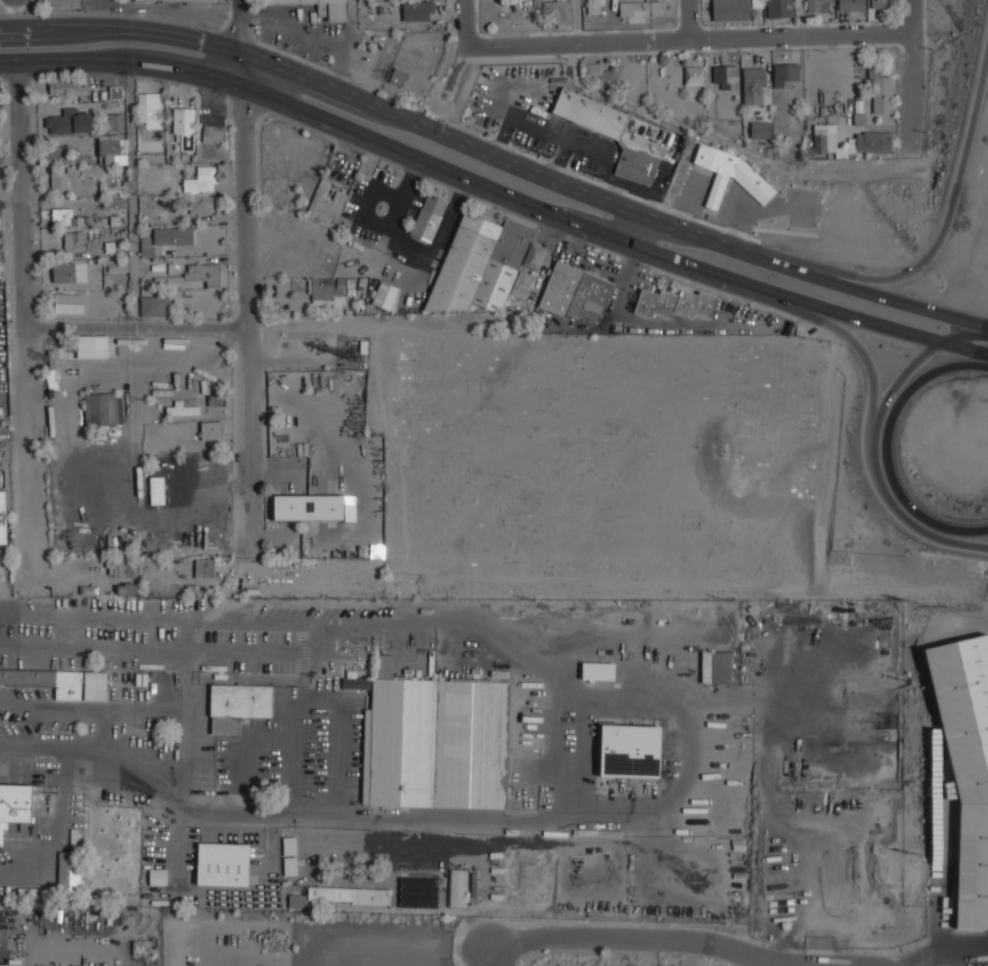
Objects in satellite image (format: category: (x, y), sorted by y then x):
building: (173, 0)
building: (882, 3)
building: (820, 5)
building: (851, 5)
building: (593, 6)
building: (323, 8)
building: (639, 8)
building: (779, 8)
building: (417, 9)
building: (733, 9)
building: (560, 11)
road: (127, 15)
road: (800, 18)
road: (689, 20)
road: (464, 23)
road: (689, 40)
road: (240, 44)
road: (352, 48)
building: (597, 70)
road: (912, 73)
building: (693, 74)
building: (786, 74)
building: (397, 76)
building: (726, 76)
building: (754, 85)
building: (63, 87)
building: (881, 90)
building: (115, 92)
road: (638, 105)
building: (149, 109)
building: (590, 112)
building: (70, 121)
building: (116, 121)
building: (184, 126)
building: (760, 129)
building: (213, 133)
building: (827, 138)
building: (873, 141)
building: (113, 149)
building: (56, 154)
road: (495, 155)
building: (636, 164)
building: (729, 173)
building: (200, 179)
road: (132, 192)
road: (495, 192)
building: (113, 202)
building: (201, 204)
building: (325, 204)
building: (62, 216)
building: (428, 218)
road: (641, 230)
building: (167, 237)
building: (73, 238)
building: (534, 256)
road: (920, 263)
building: (118, 264)
building: (480, 264)
building: (63, 271)
building: (202, 273)
building: (169, 279)
building: (521, 285)
building: (321, 291)
building: (575, 293)
building: (384, 295)
building: (69, 303)
building: (154, 303)
building: (675, 304)
road: (804, 313)
road: (247, 315)
road: (22, 319)
road: (293, 323)
road: (986, 328)
building: (92, 345)
building: (103, 409)
building: (182, 409)
building: (211, 430)
road: (874, 442)
road: (891, 447)
park: (605, 464)
building: (311, 507)
building: (2, 518)
building: (120, 567)
building: (204, 568)
building: (127, 589)
building: (88, 590)
building: (716, 667)
building: (598, 671)
building: (61, 682)
building: (356, 683)
building: (239, 704)
road: (188, 715)
building: (440, 742)
building: (630, 750)
building: (966, 762)
building: (14, 805)
building: (290, 856)
building: (223, 864)
building: (69, 875)
building: (158, 877)
building: (457, 888)
building: (34, 893)
building: (419, 893)
building: (341, 896)
road: (643, 938)
road: (693, 953)

